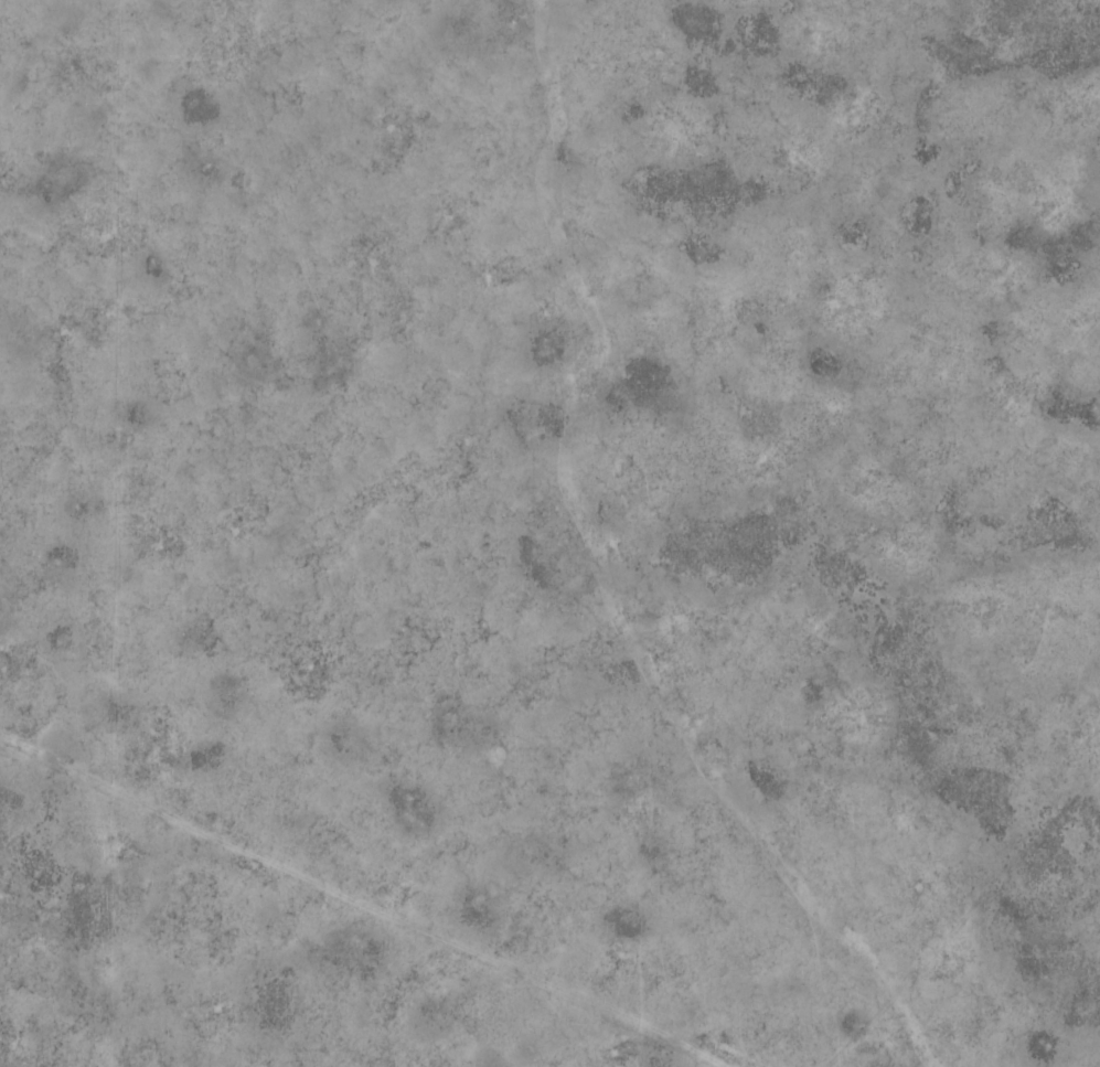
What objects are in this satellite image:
road: (115, 533)
road: (435, 873)

